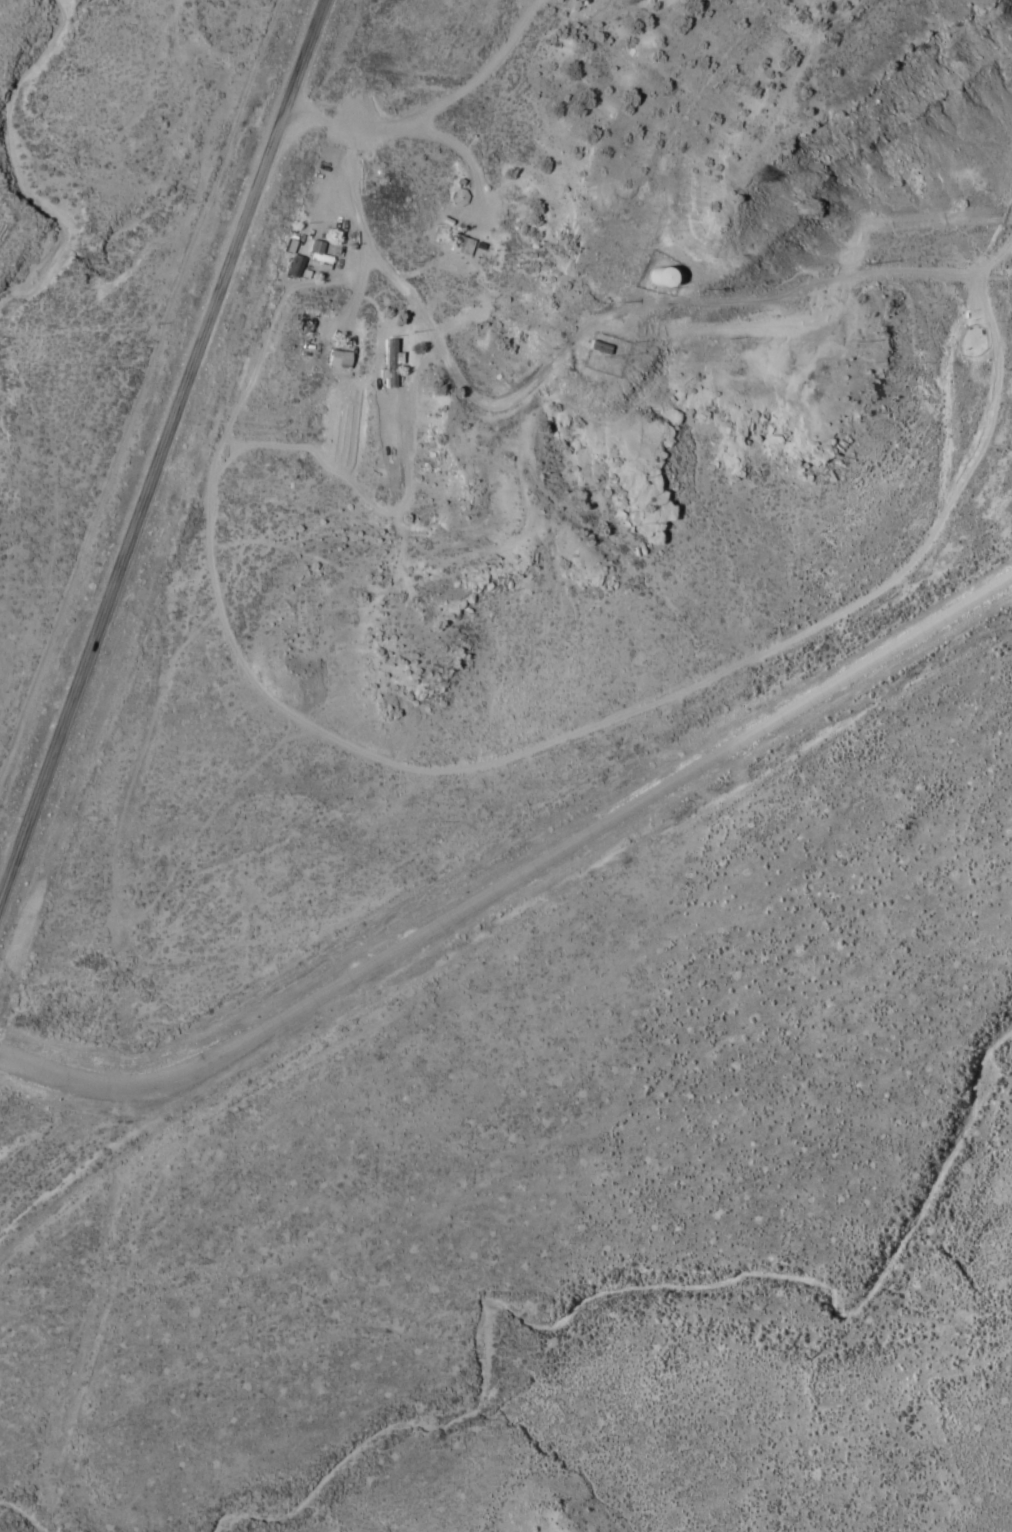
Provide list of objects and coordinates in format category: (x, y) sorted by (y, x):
building: (462, 197)
building: (465, 246)
building: (298, 267)
building: (601, 348)
building: (392, 355)
building: (342, 360)
road: (164, 451)
road: (579, 736)
road: (517, 882)

